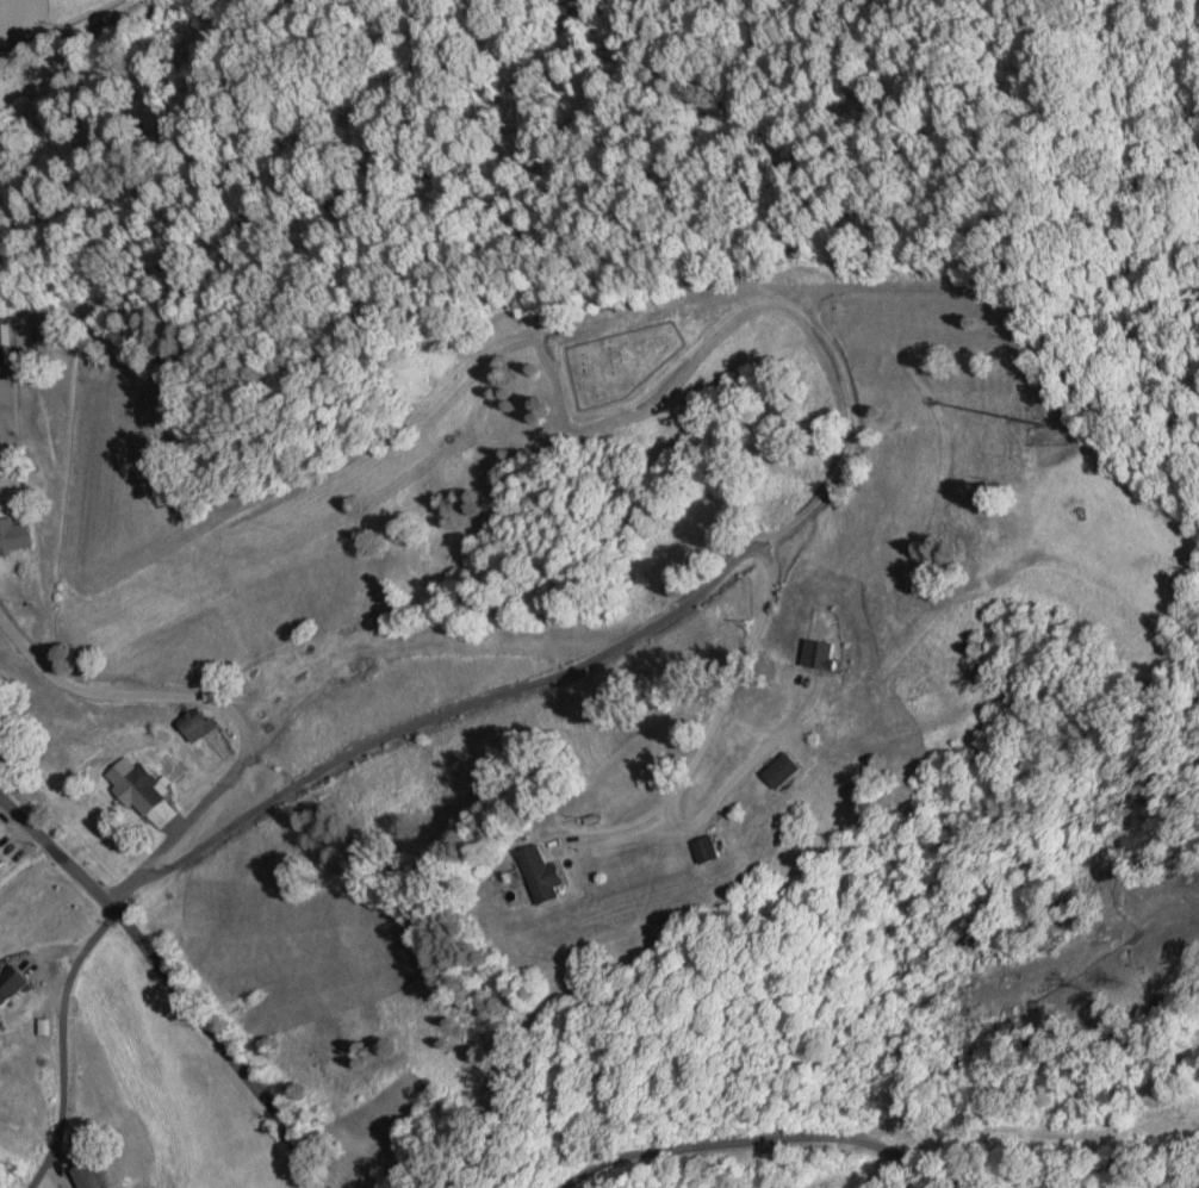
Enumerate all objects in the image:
building: (6, 344)
building: (15, 536)
road: (666, 616)
building: (818, 655)
building: (282, 663)
building: (206, 726)
building: (774, 771)
building: (149, 791)
building: (697, 850)
building: (5, 860)
building: (555, 875)
road: (170, 981)
building: (14, 985)
road: (58, 1043)
road: (776, 1136)
building: (101, 1175)

